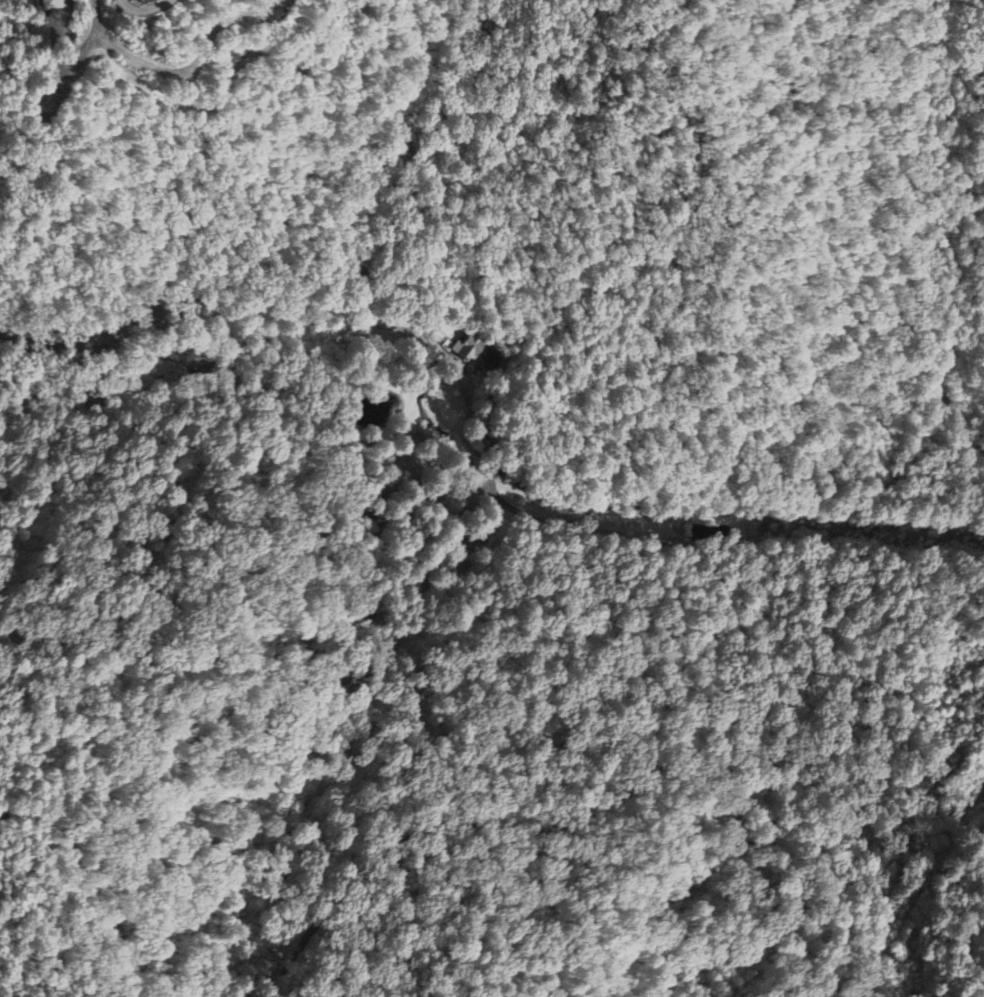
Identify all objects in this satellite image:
building: (143, 1)
building: (48, 5)
building: (465, 349)
road: (84, 876)

